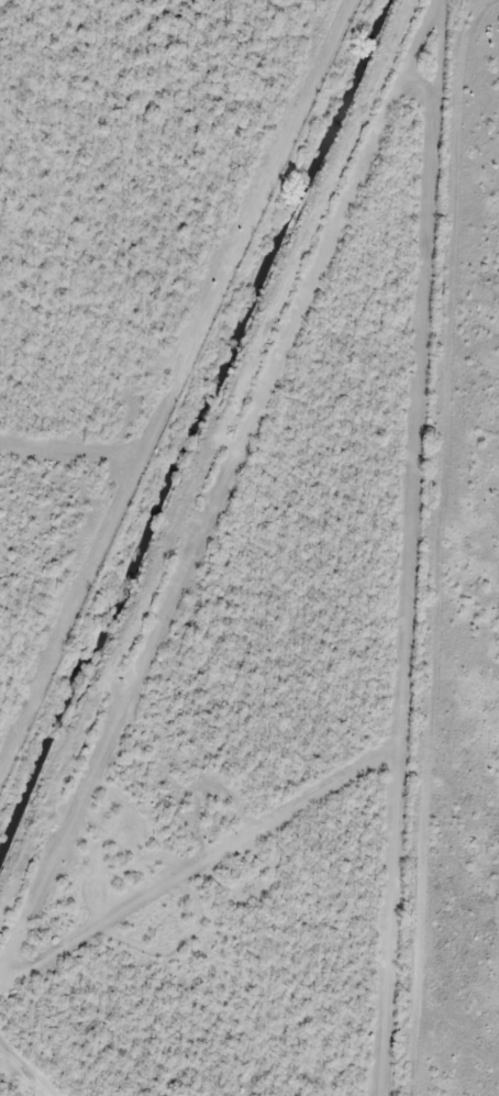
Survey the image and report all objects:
river: (189, 422)

